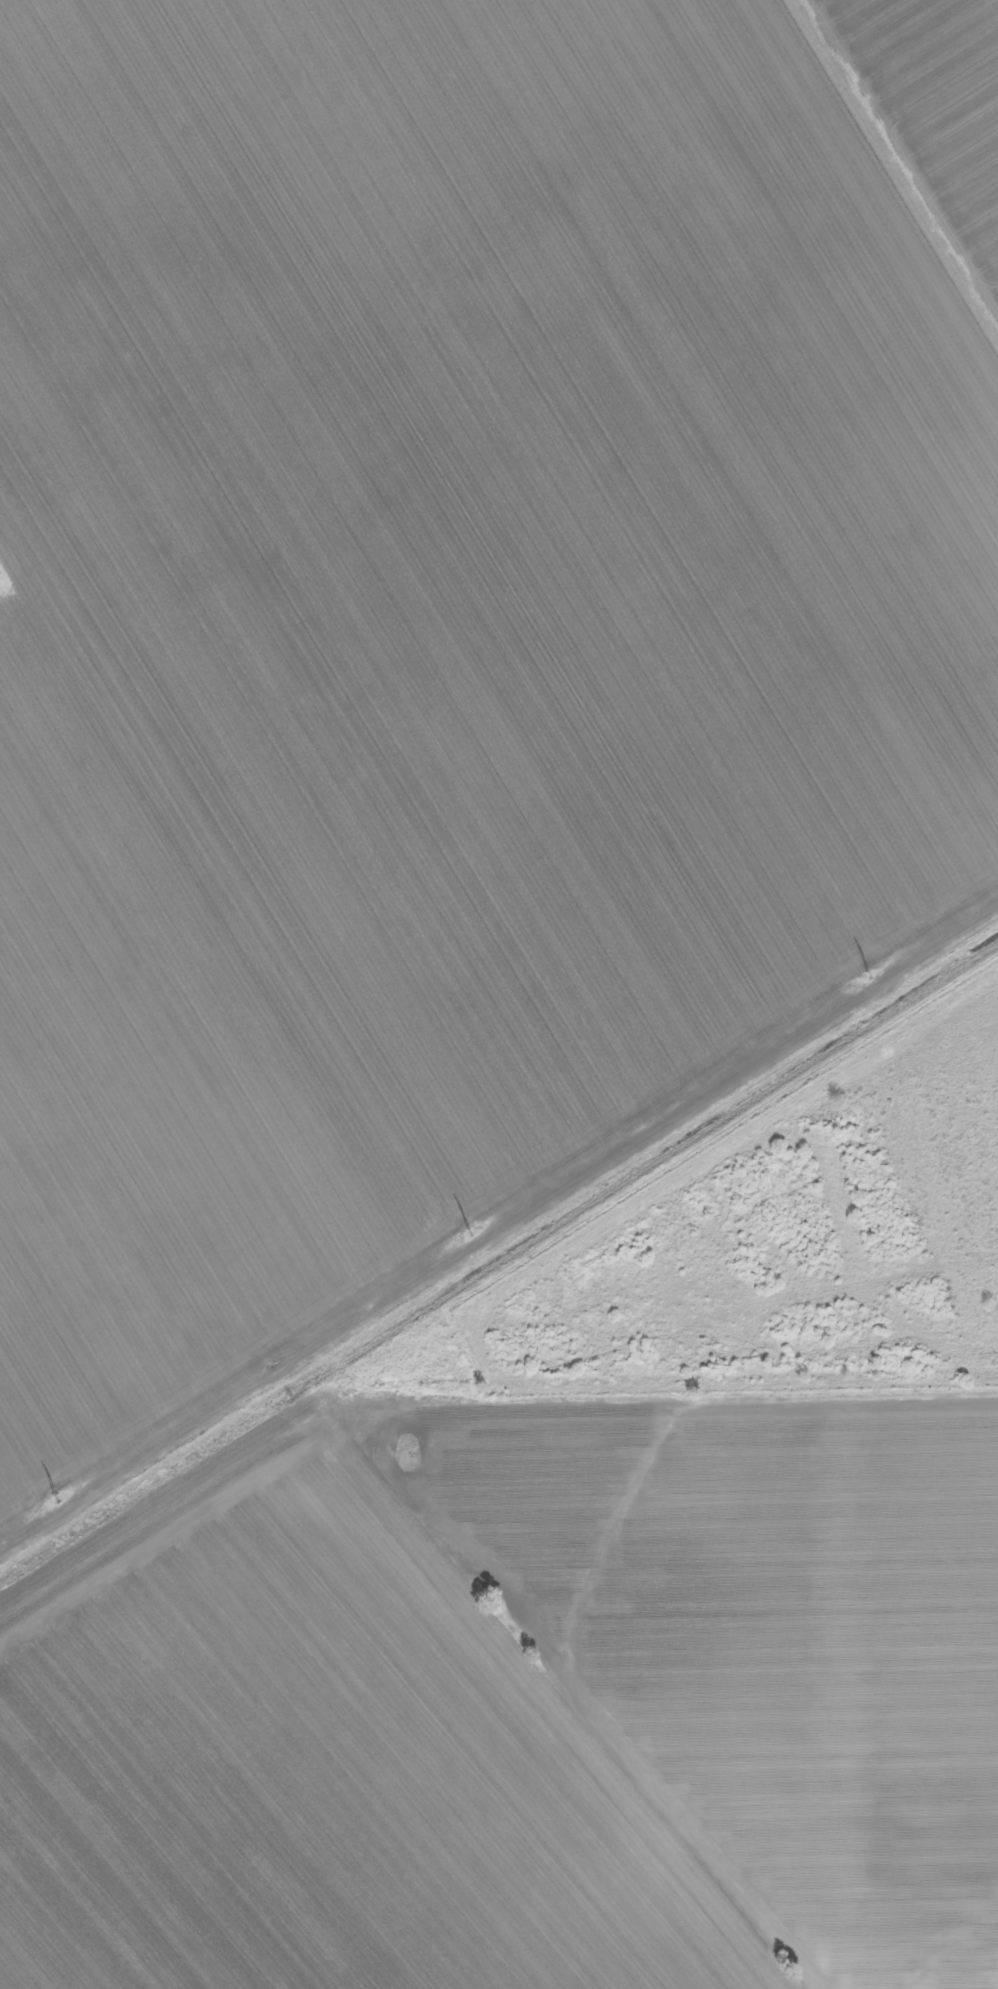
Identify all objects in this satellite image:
power tower: (872, 977)
power tower: (471, 1234)
power tower: (59, 1500)

